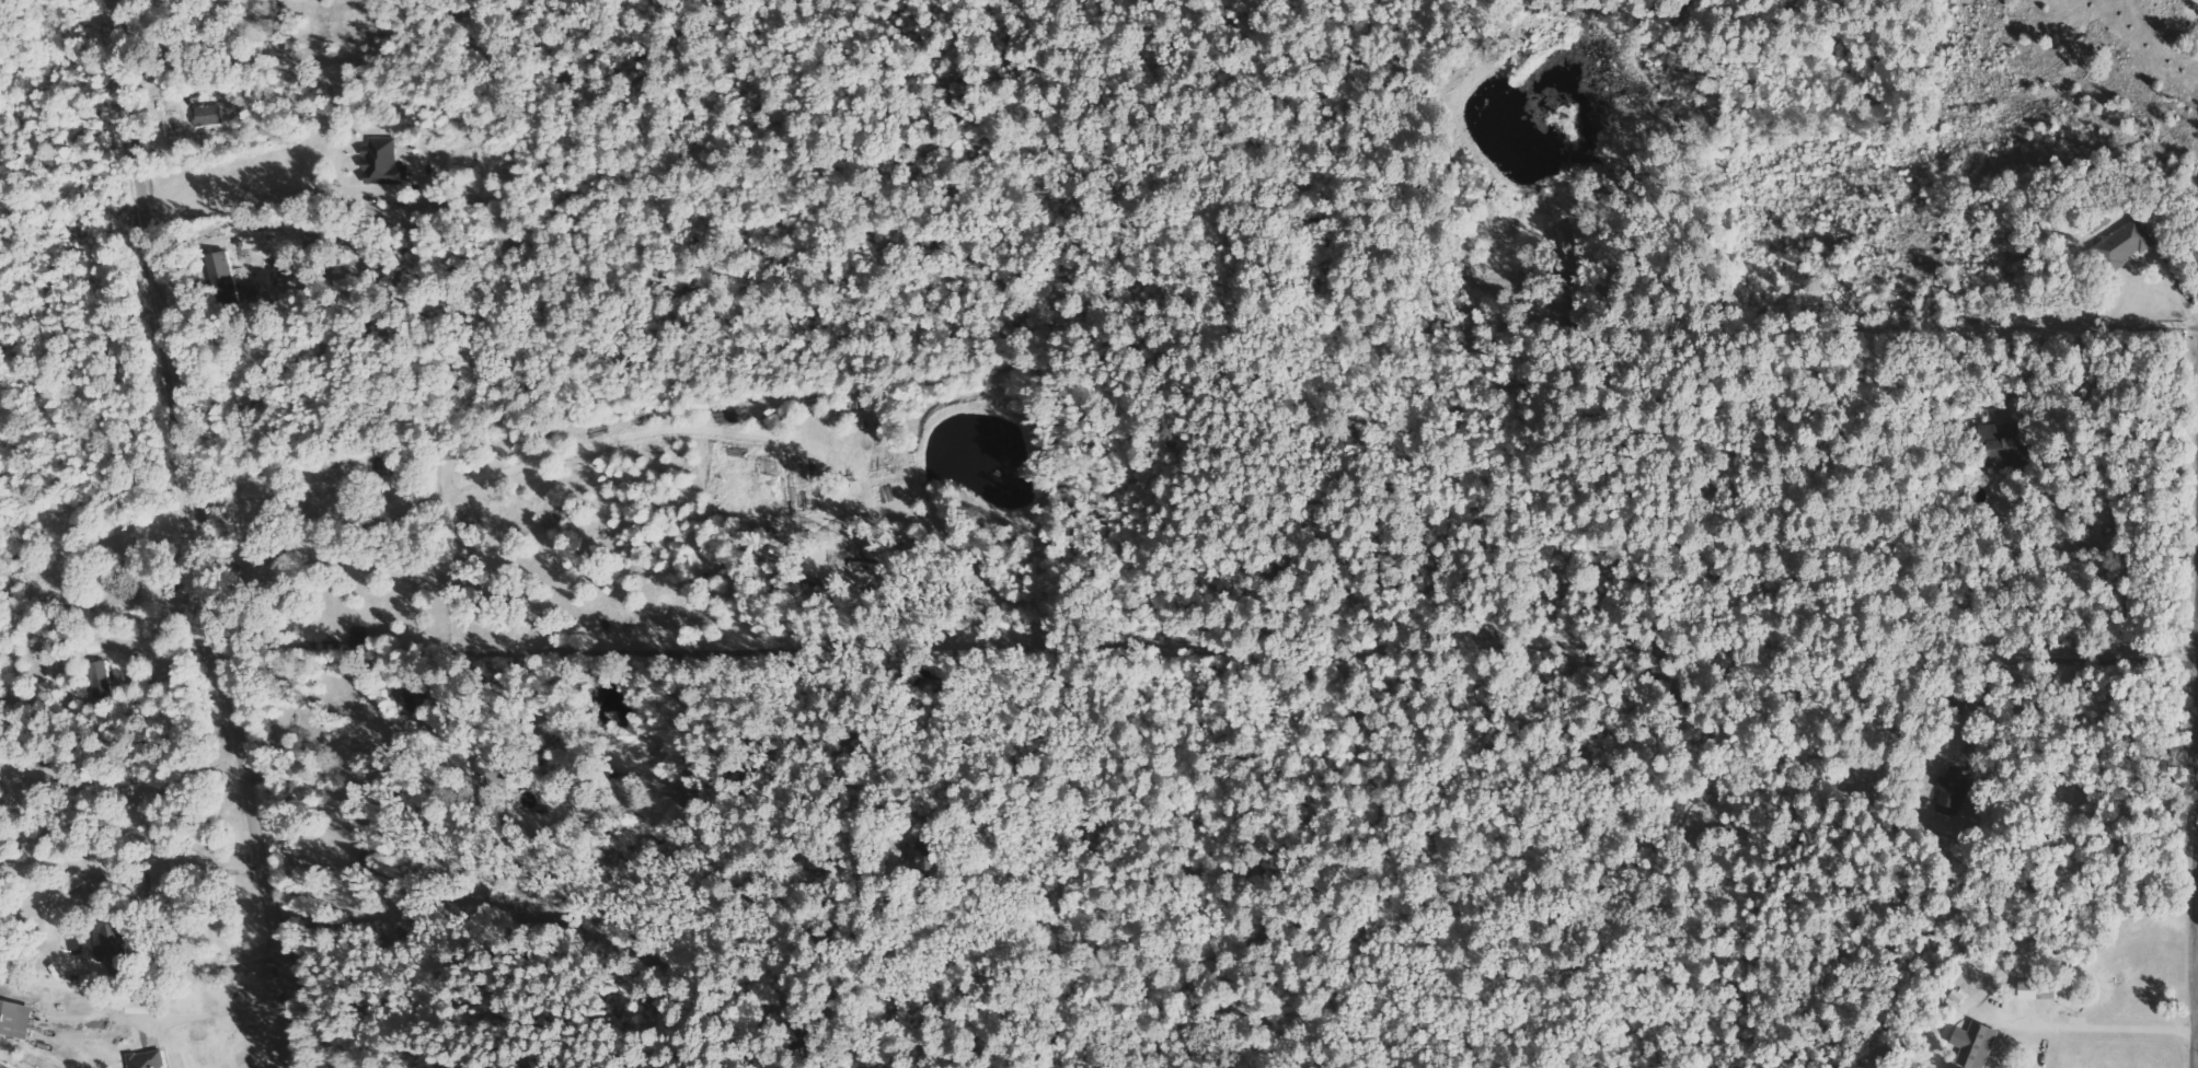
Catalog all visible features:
building: (210, 114)
building: (383, 162)
building: (1562, 244)
building: (2126, 244)
building: (221, 272)
building: (2003, 442)
road: (206, 534)
building: (99, 680)
building: (407, 700)
road: (331, 743)
building: (493, 770)
building: (1952, 790)
building: (932, 855)
building: (114, 945)
building: (2048, 987)
building: (142, 1006)
road: (215, 1011)
building: (15, 1018)
building: (1977, 1043)
building: (147, 1059)

